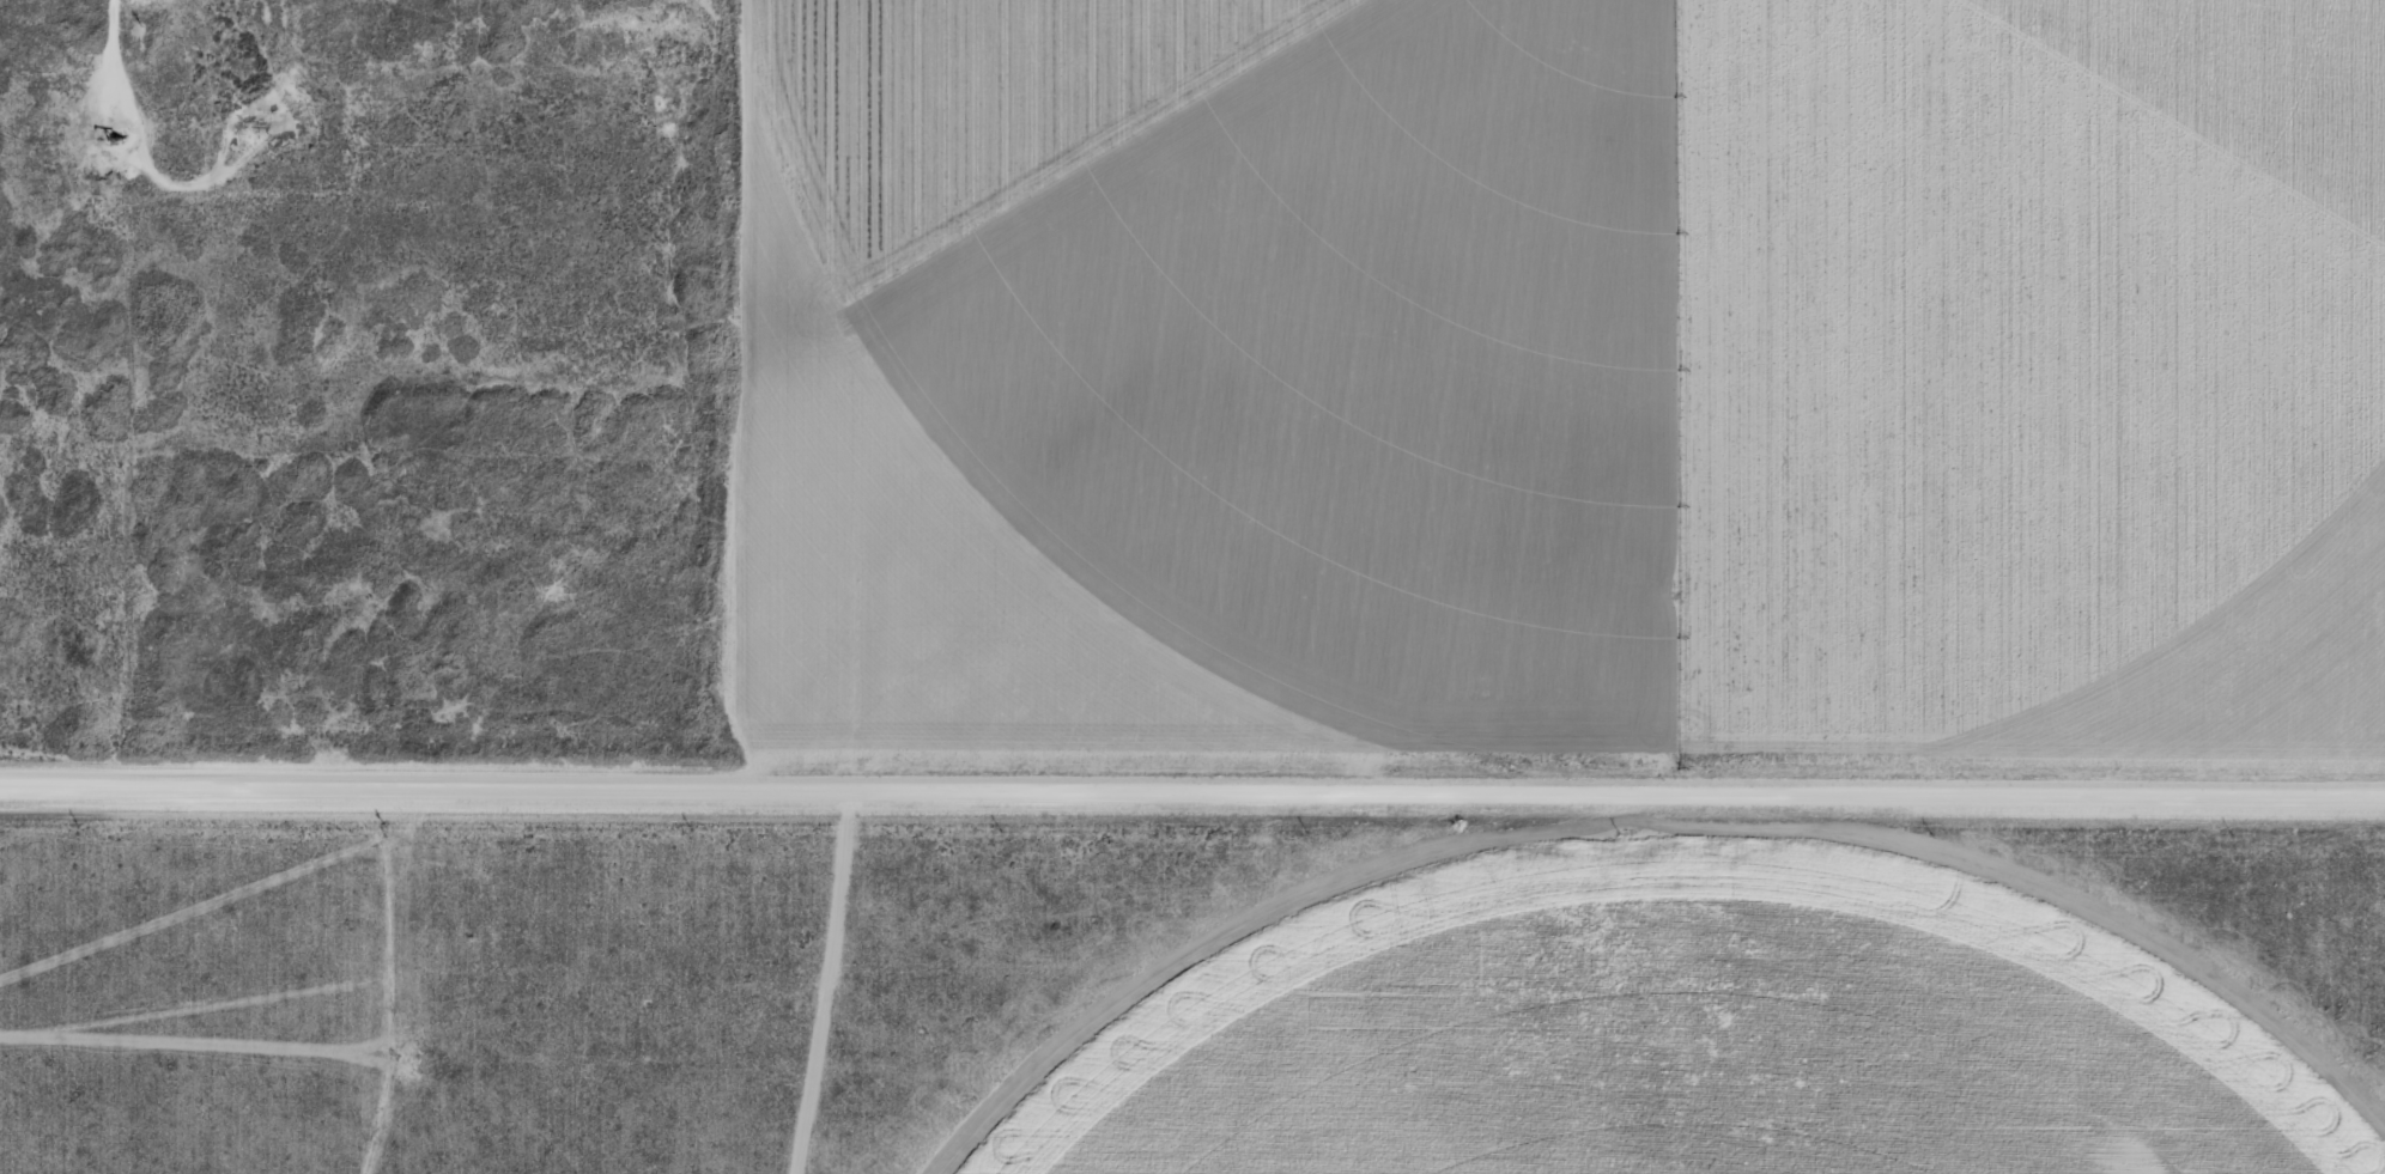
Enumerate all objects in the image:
road: (119, 387)
road: (1191, 772)

